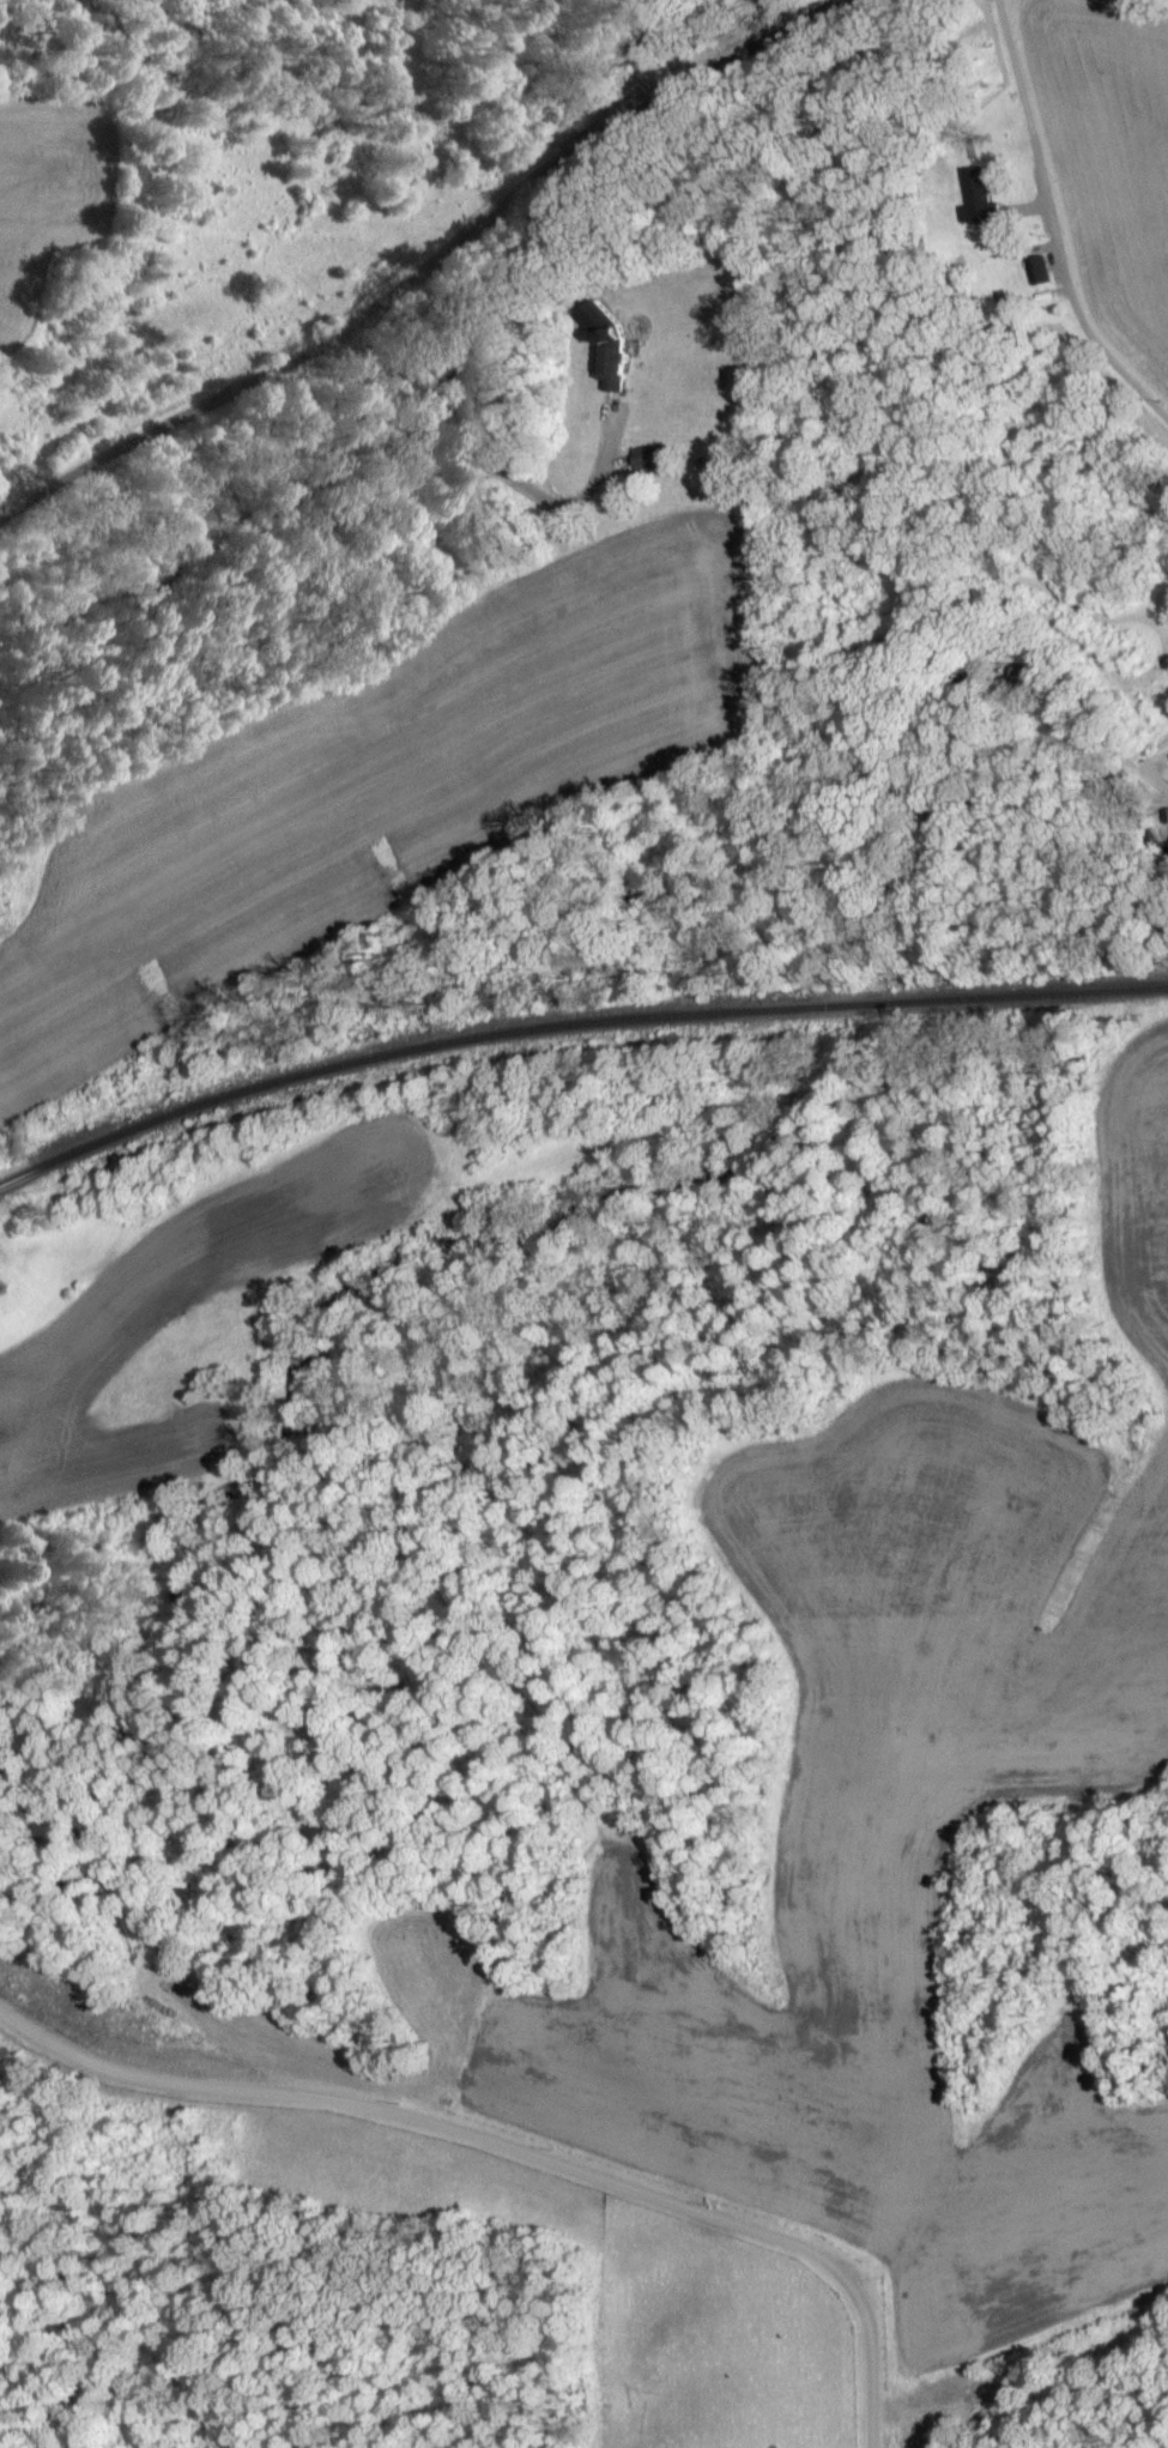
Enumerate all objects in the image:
building: (981, 200)
road: (1029, 224)
road: (422, 268)
building: (1042, 271)
building: (622, 359)
building: (654, 458)
road: (490, 461)
railway: (571, 1022)
road: (495, 2112)
road: (910, 2410)

